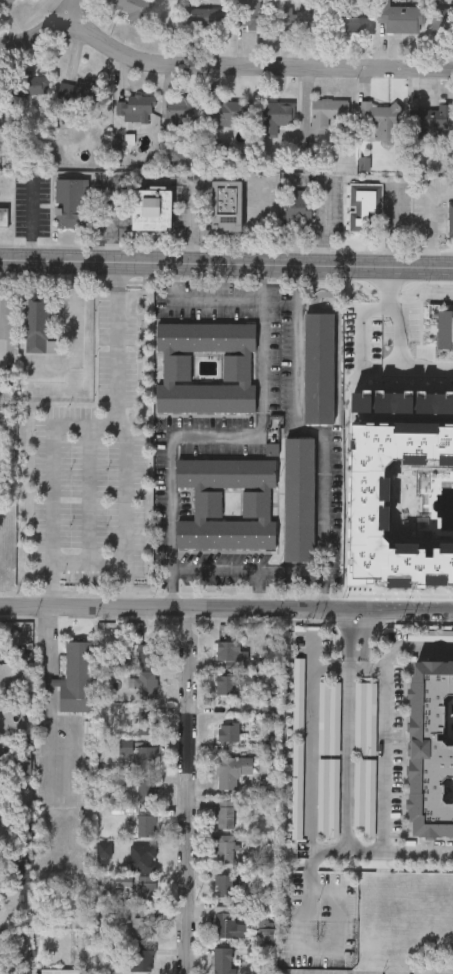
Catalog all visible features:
building: (4, 3)
building: (132, 7)
road: (70, 14)
building: (206, 15)
building: (257, 15)
building: (401, 17)
building: (304, 18)
building: (443, 19)
building: (353, 20)
road: (33, 35)
road: (256, 67)
building: (31, 84)
building: (79, 92)
building: (137, 108)
building: (181, 112)
building: (231, 112)
building: (328, 112)
building: (277, 115)
building: (441, 118)
building: (382, 119)
building: (71, 203)
building: (225, 206)
building: (298, 207)
building: (362, 207)
building: (150, 210)
building: (3, 216)
road: (113, 217)
road: (431, 220)
building: (450, 221)
road: (226, 259)
road: (194, 303)
road: (76, 328)
building: (406, 330)
building: (445, 330)
parking lot: (365, 336)
road: (119, 340)
road: (401, 340)
building: (176, 367)
building: (316, 367)
road: (328, 424)
road: (240, 440)
road: (49, 476)
building: (402, 490)
road: (94, 491)
building: (298, 499)
building: (206, 504)
road: (130, 526)
road: (236, 572)
road: (130, 583)
road: (268, 590)
road: (226, 606)
road: (369, 630)
road: (346, 631)
road: (413, 648)
building: (228, 649)
building: (147, 654)
road: (367, 663)
road: (359, 669)
road: (377, 669)
building: (76, 678)
building: (225, 684)
building: (147, 688)
building: (297, 697)
building: (147, 717)
building: (364, 719)
building: (228, 730)
road: (311, 747)
building: (430, 748)
building: (146, 757)
building: (328, 760)
road: (387, 761)
building: (231, 769)
road: (348, 770)
road: (49, 771)
building: (295, 789)
road: (183, 790)
building: (146, 791)
building: (363, 796)
building: (225, 813)
building: (145, 824)
building: (224, 847)
road: (421, 854)
building: (228, 883)
building: (145, 889)
building: (226, 923)
building: (142, 926)
road: (297, 945)
building: (222, 960)
building: (145, 961)
building: (59, 971)

